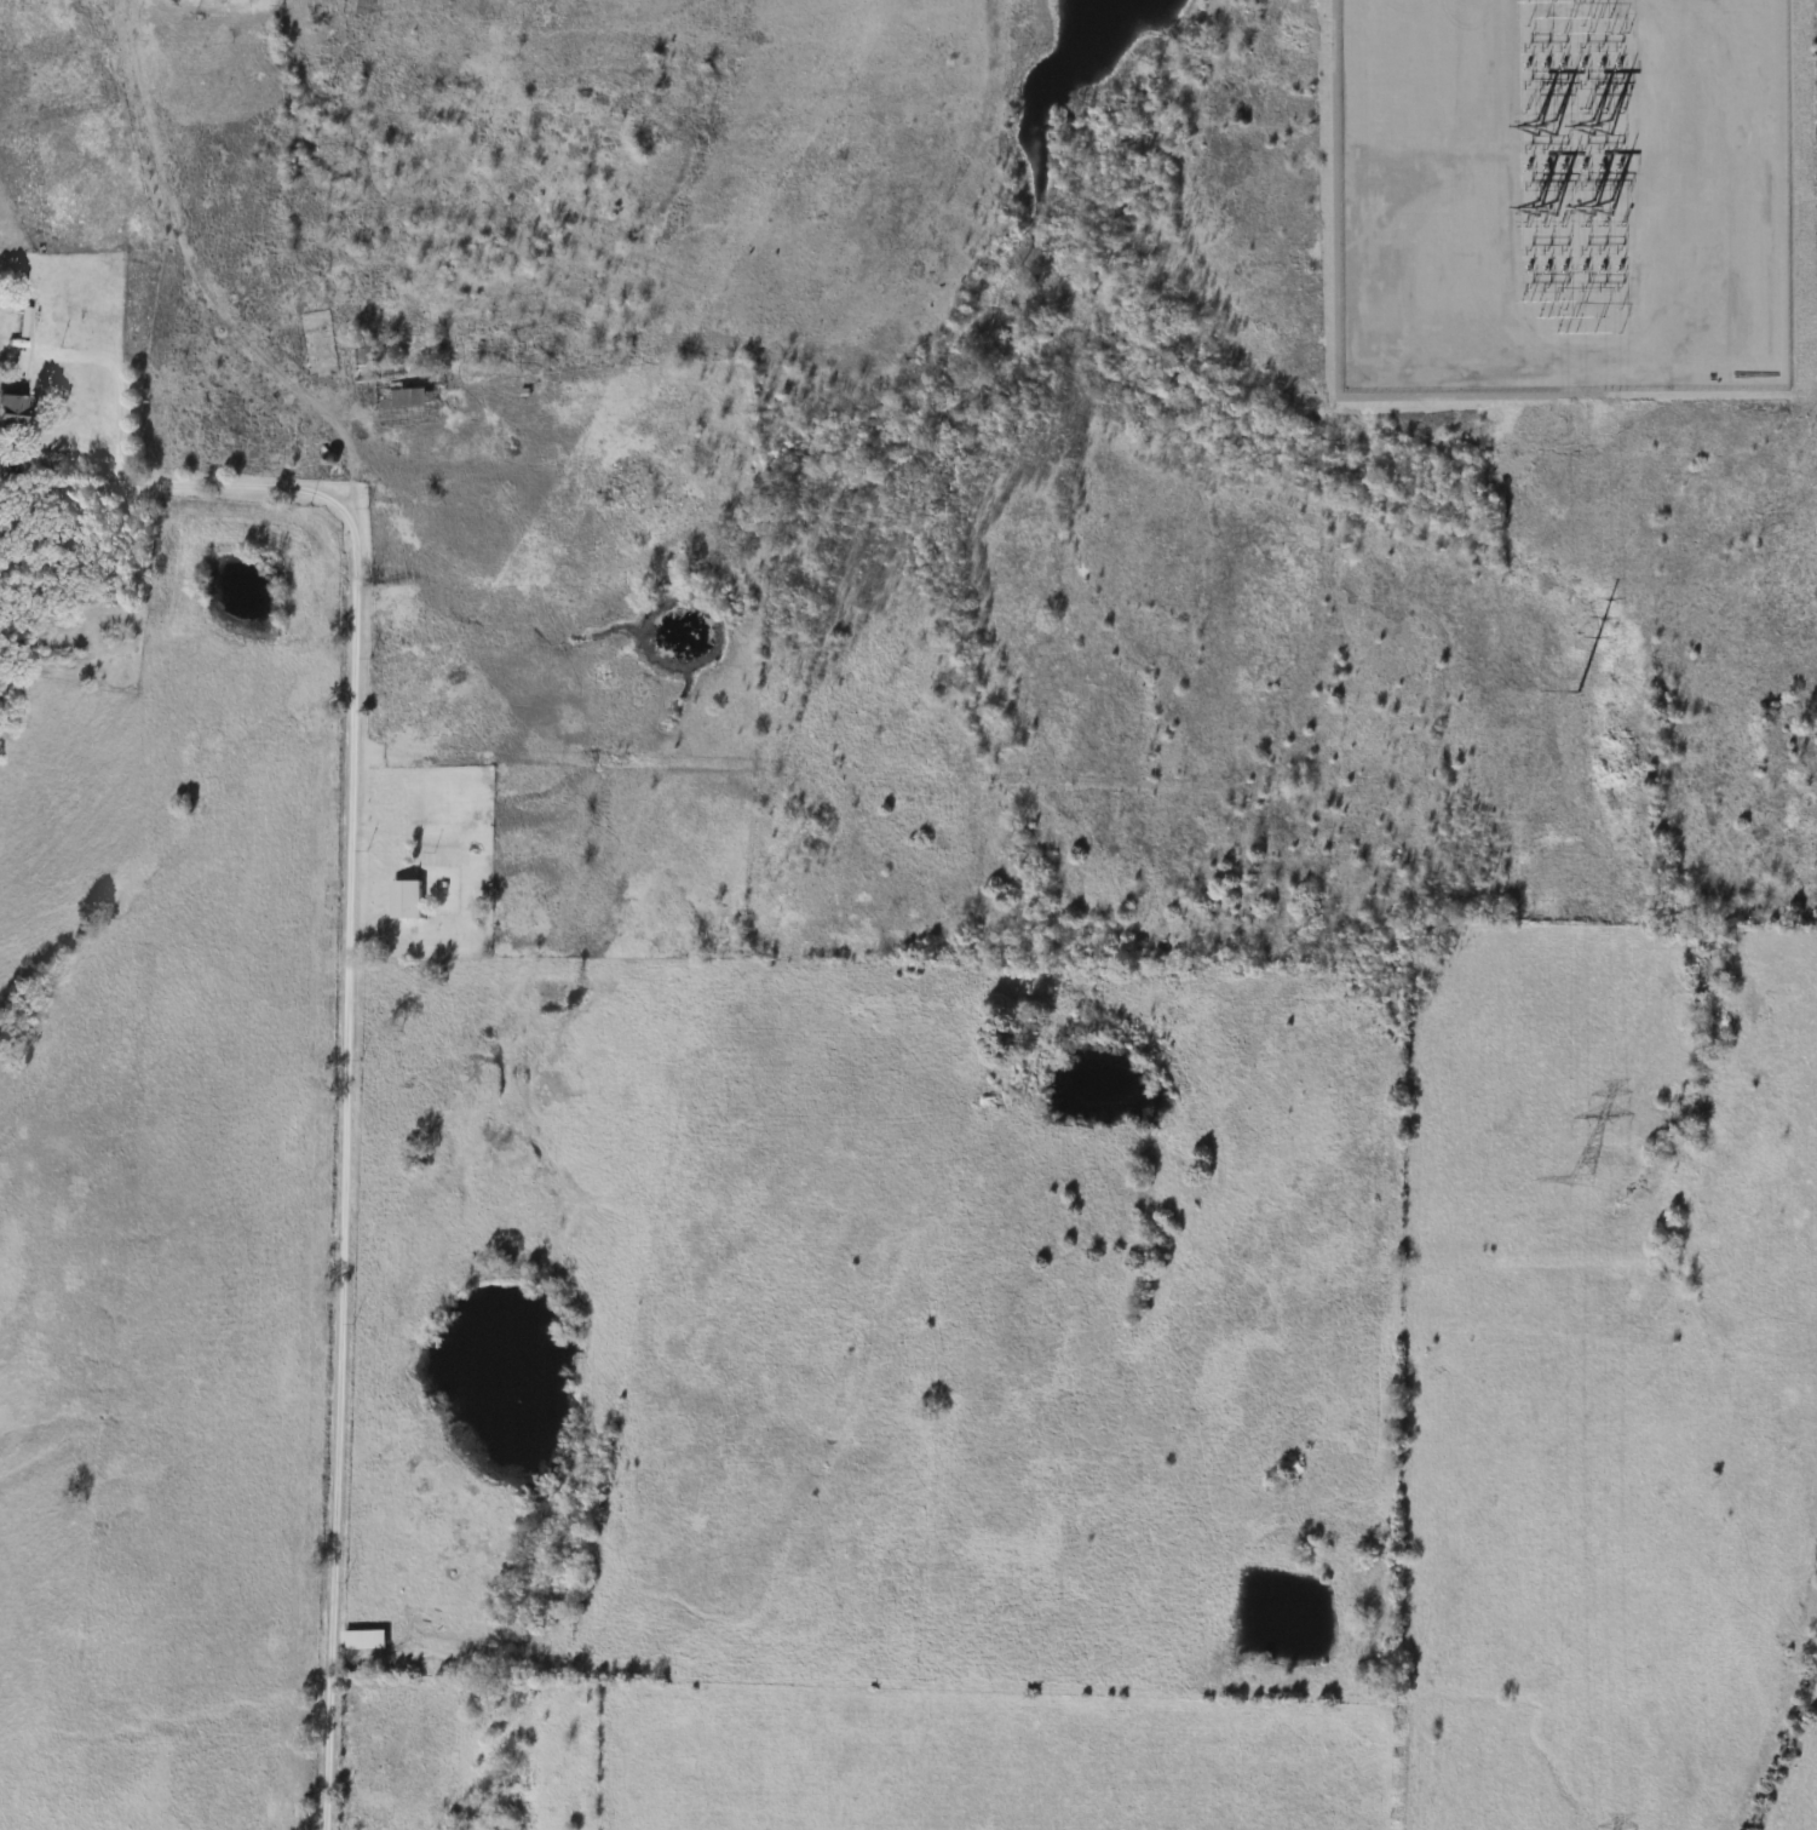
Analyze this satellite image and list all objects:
power tower: (1542, 125)
power tower: (1602, 125)
power substation: (1563, 195)
power tower: (1543, 213)
power tower: (1603, 213)
building: (401, 390)
building: (8, 409)
road: (194, 482)
power tower: (1576, 690)
building: (420, 807)
road: (349, 880)
power tower: (1577, 1183)
railway: (1787, 1738)

